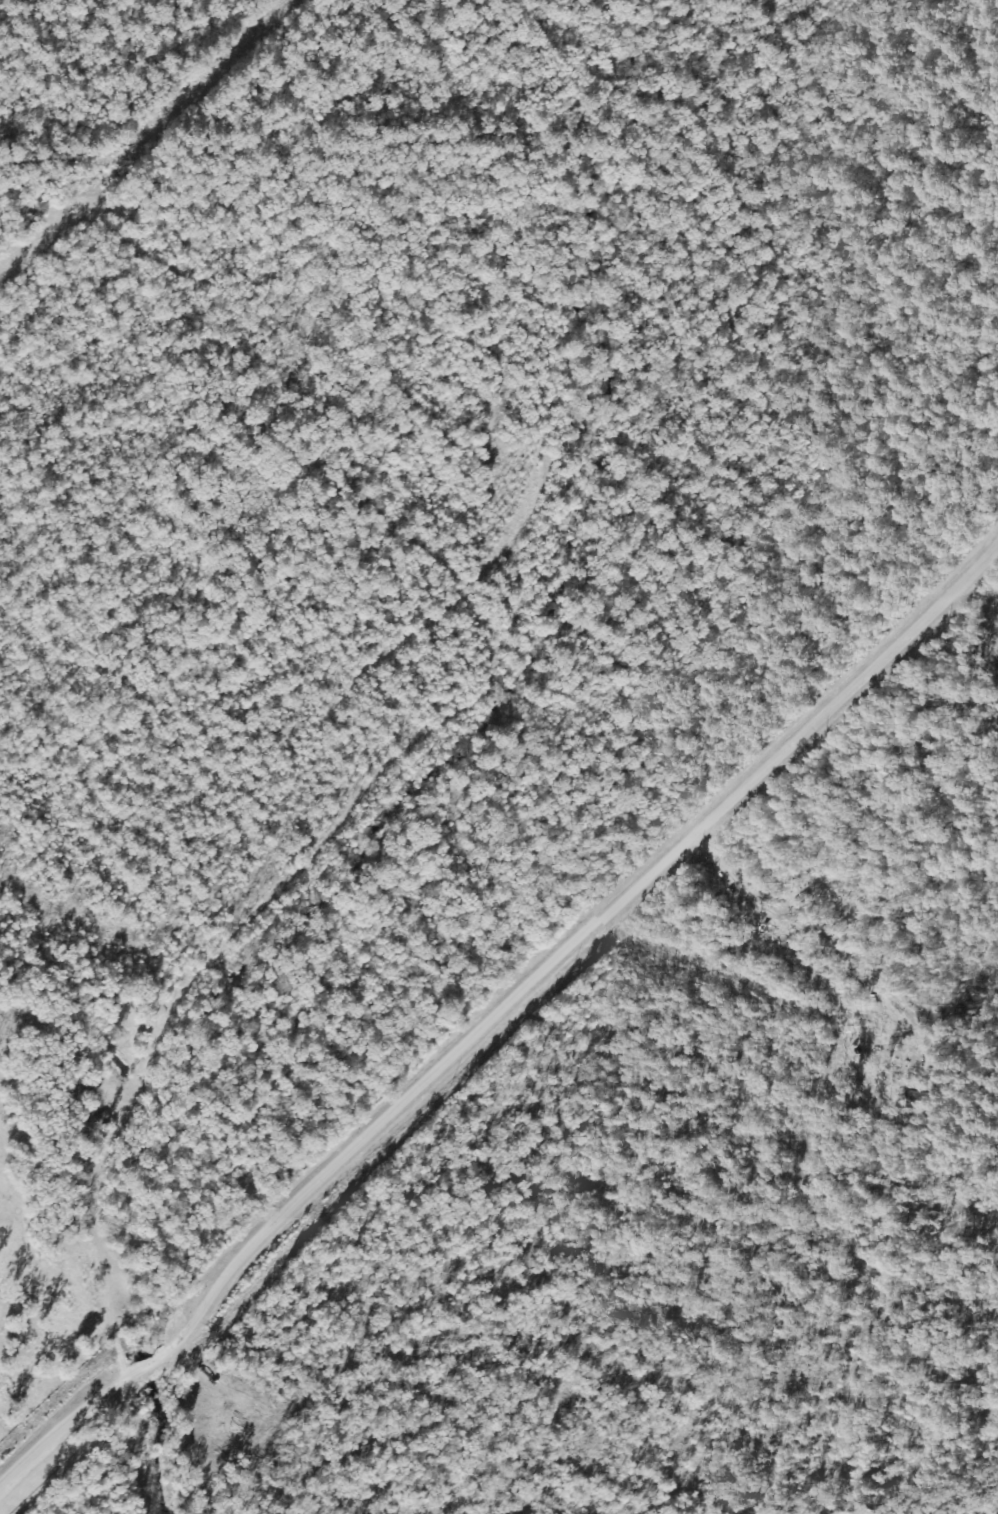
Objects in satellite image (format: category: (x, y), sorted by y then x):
road: (498, 1015)

